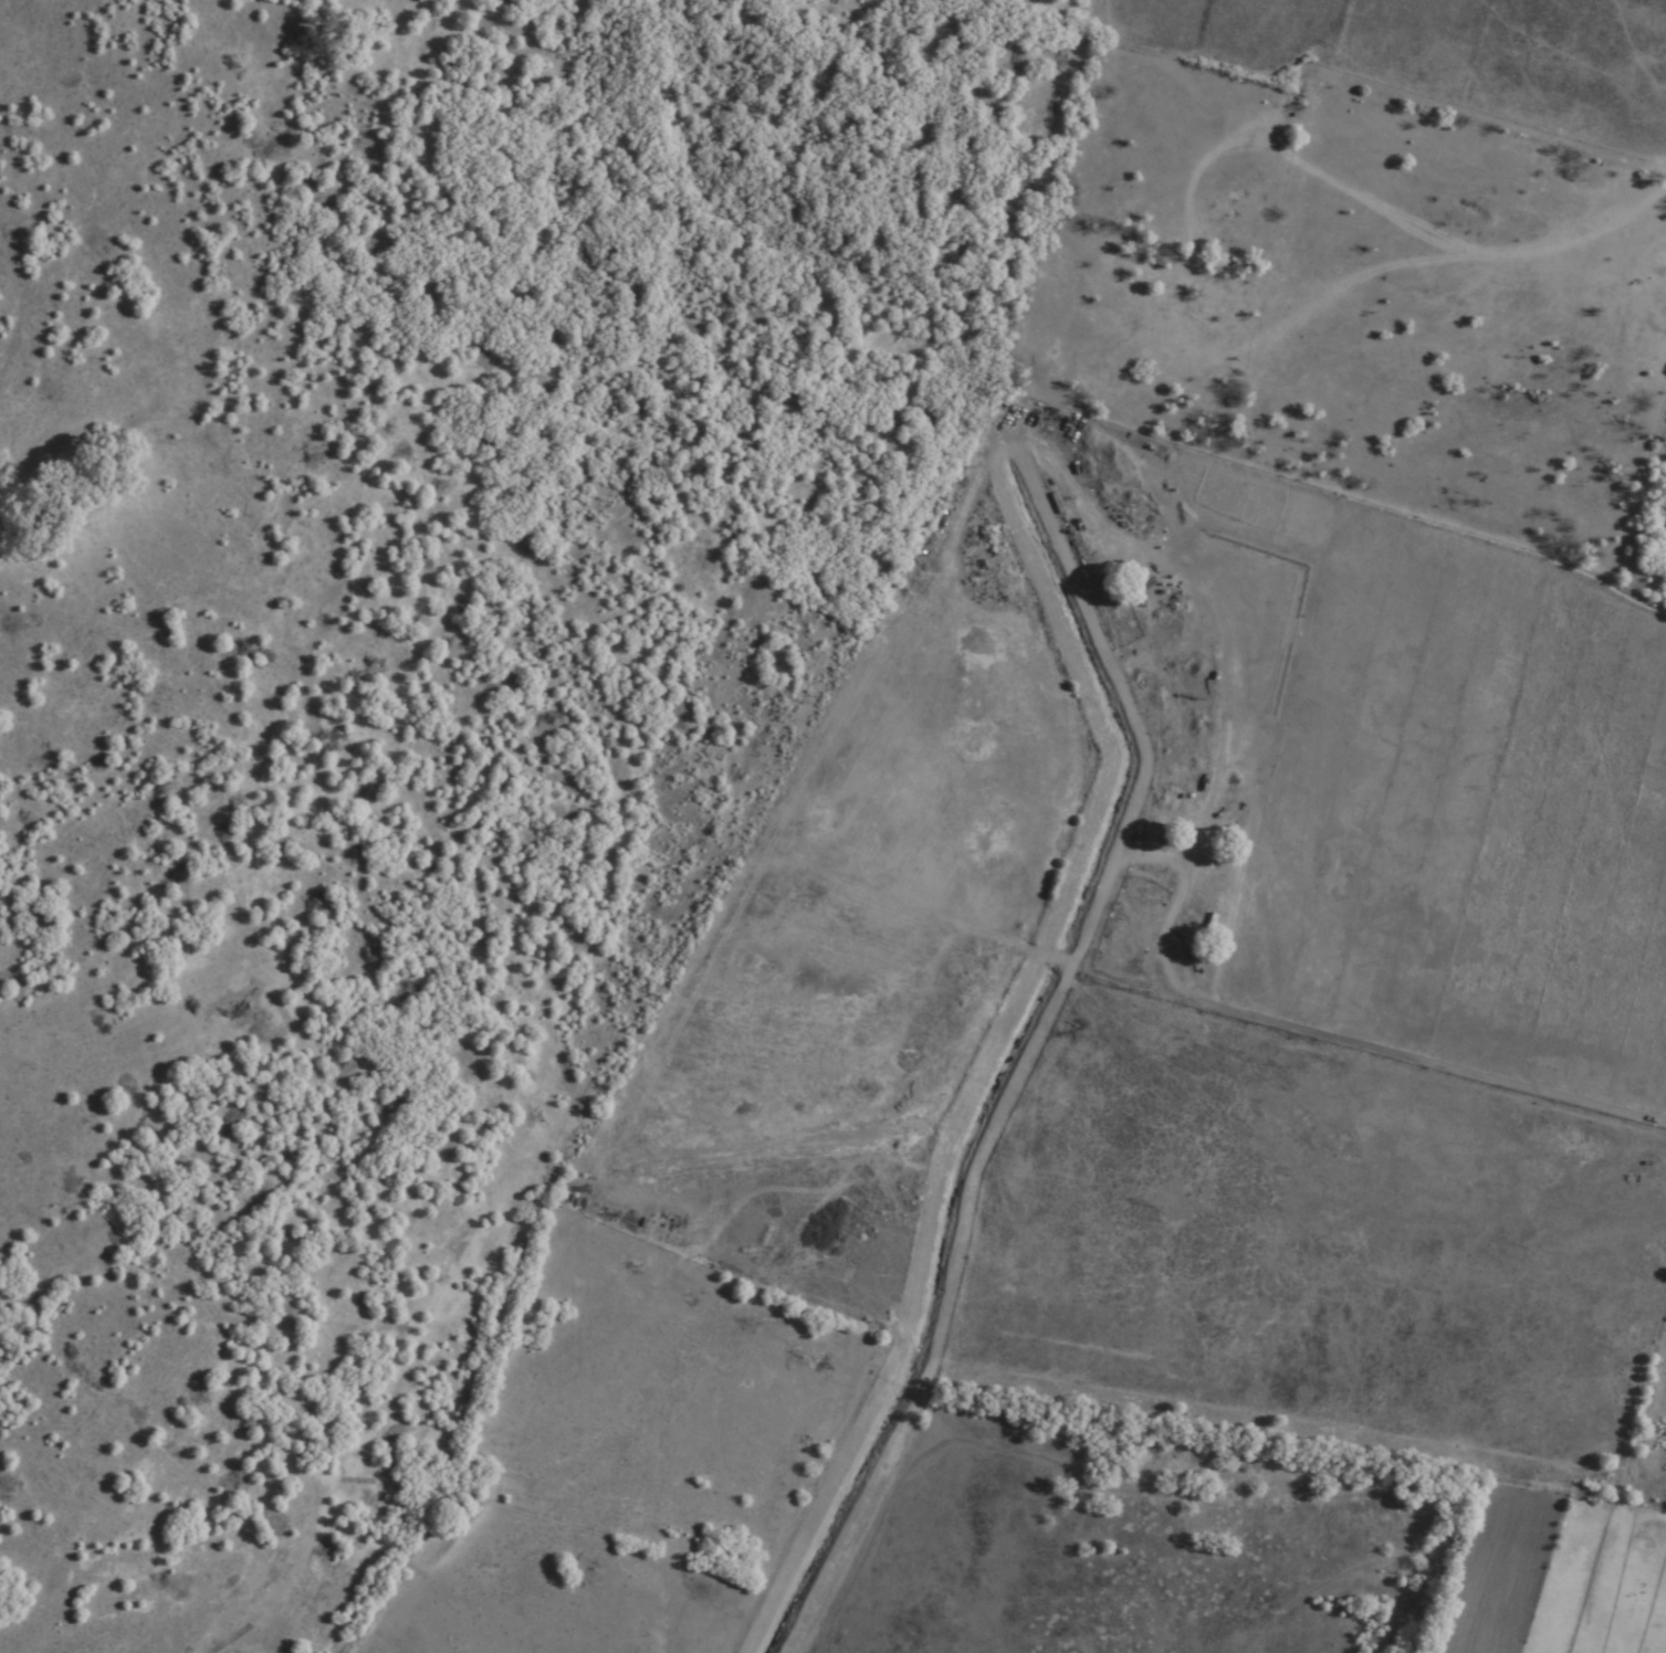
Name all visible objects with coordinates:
road: (857, 1351)
road: (811, 1376)
road: (1037, 1517)
road: (88, 1568)

